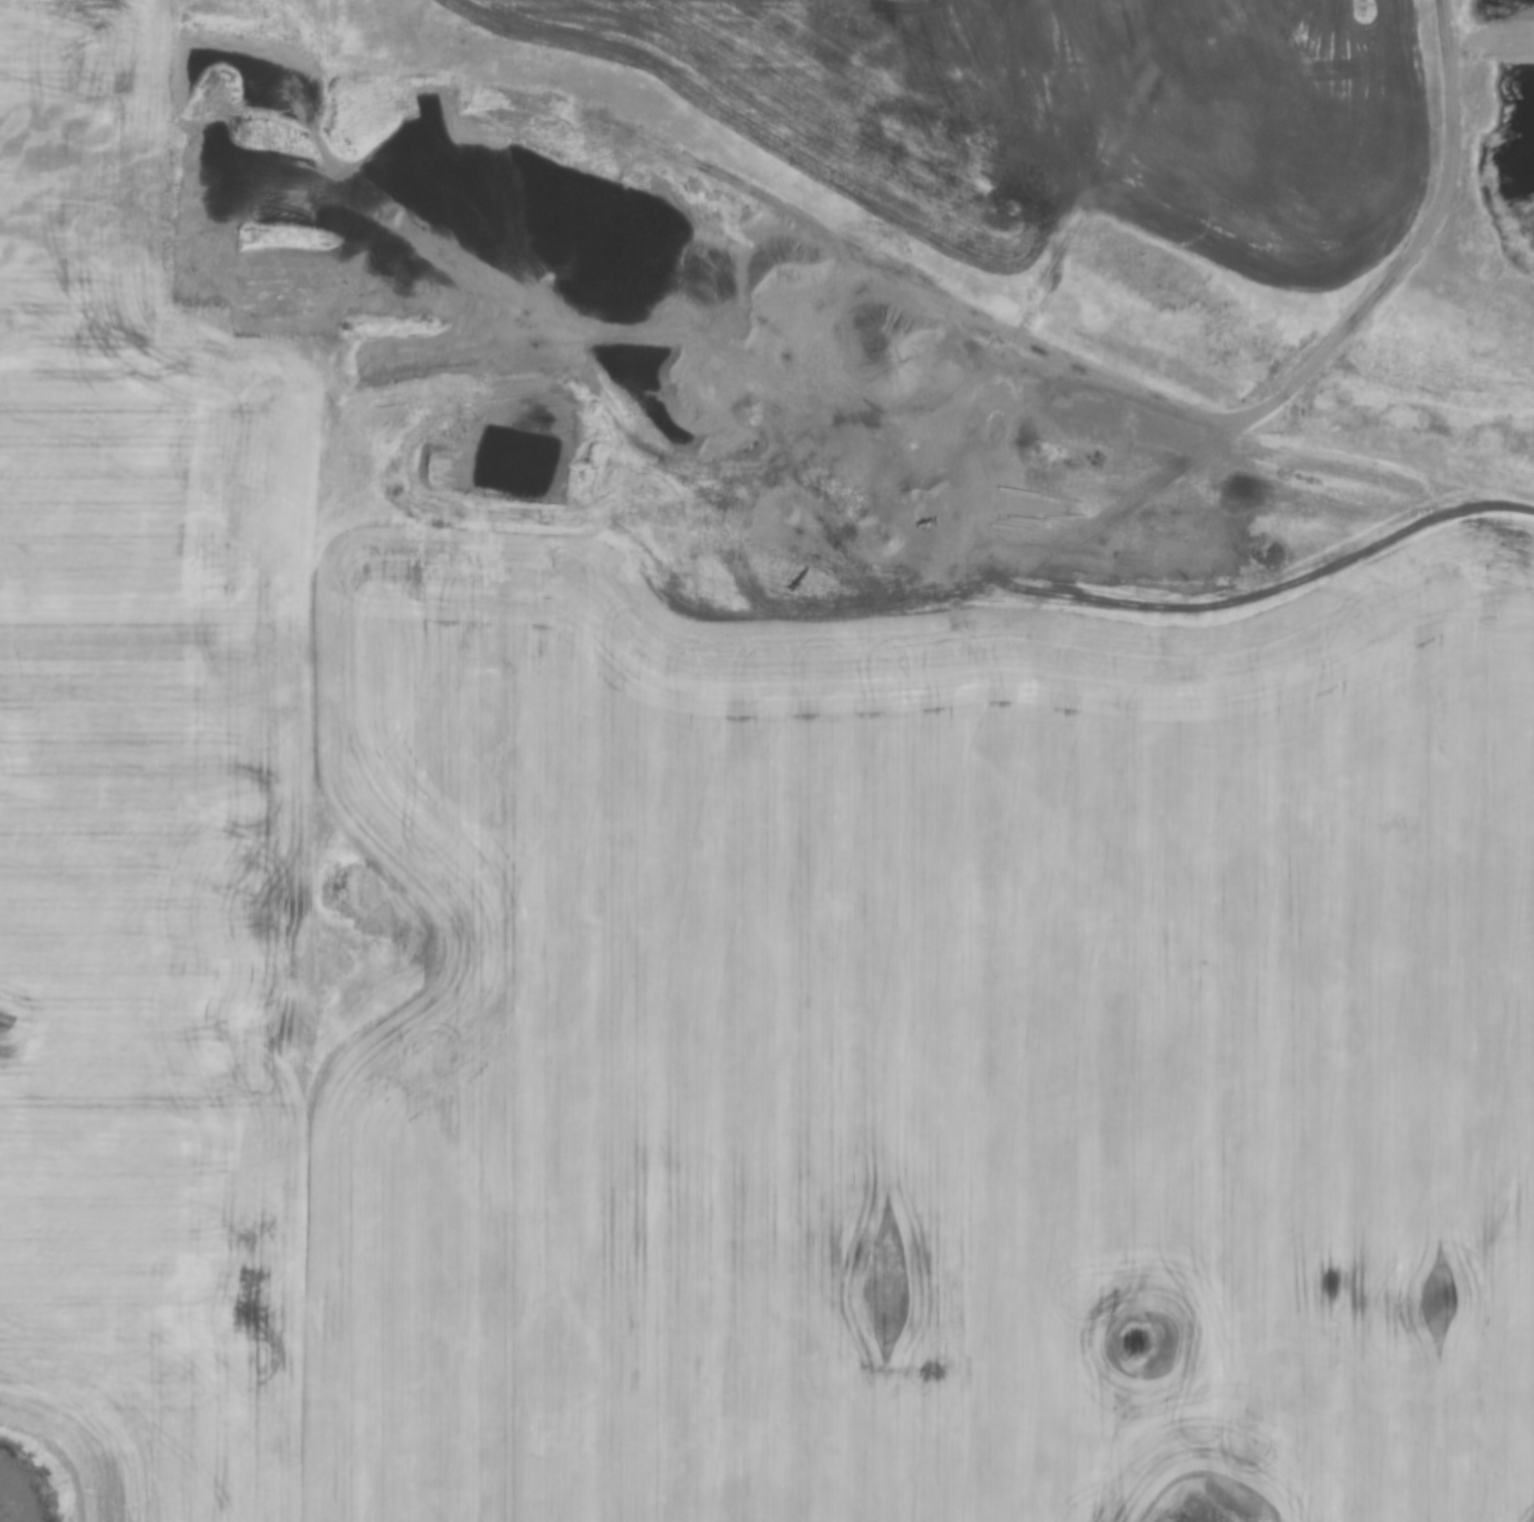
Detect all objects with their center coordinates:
road: (1524, 64)
quarry: (1505, 133)

